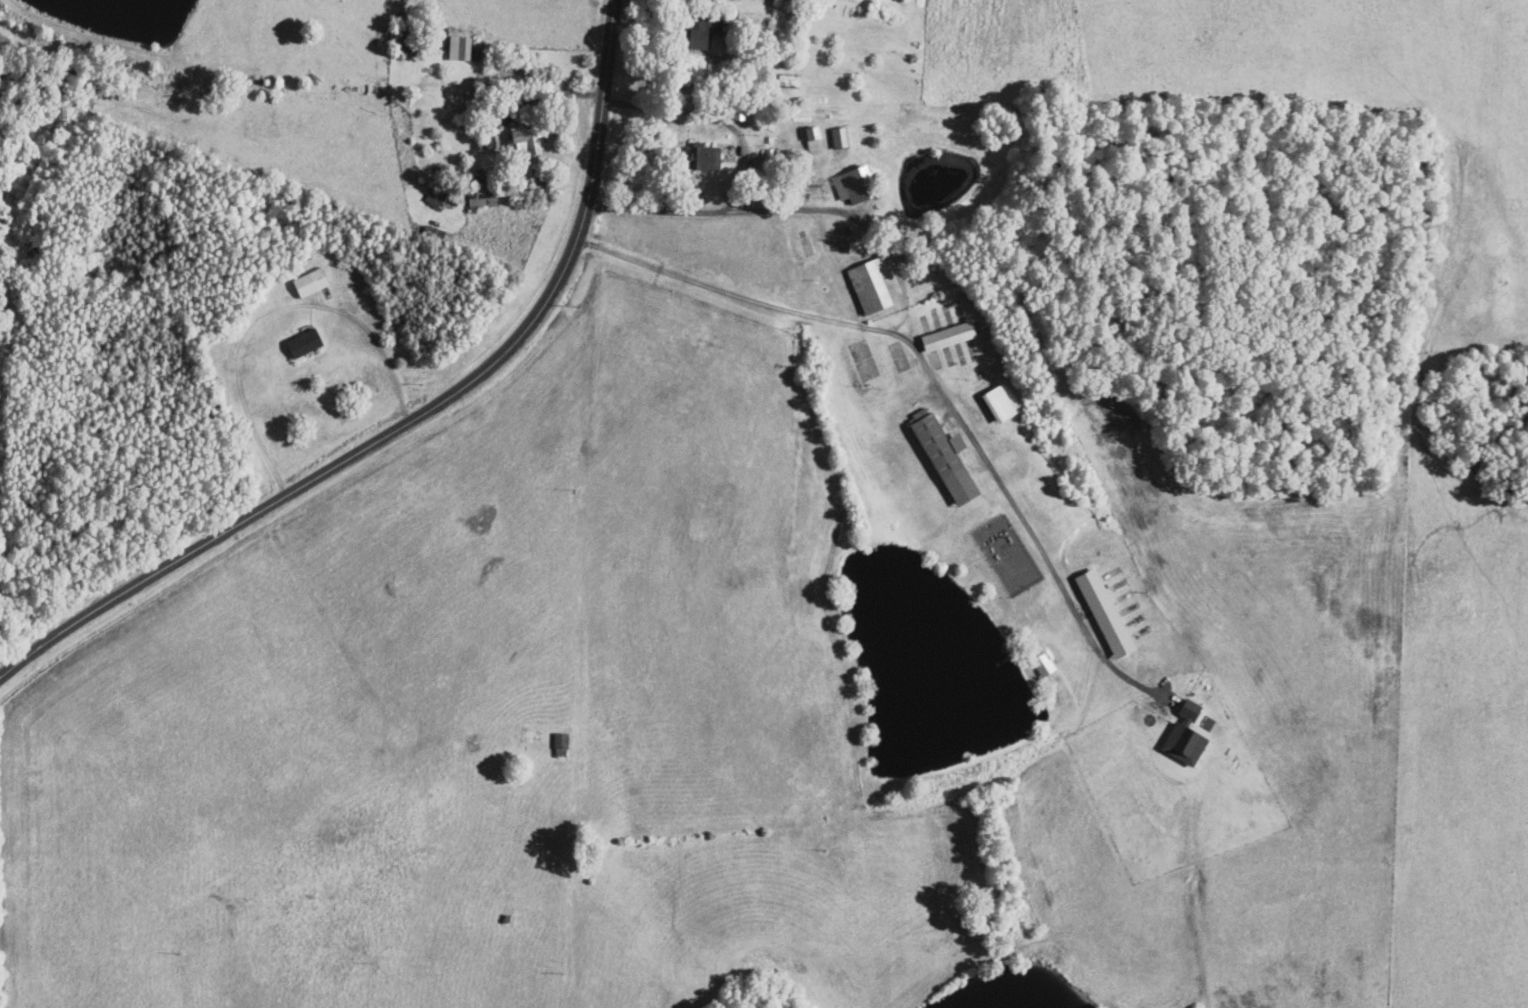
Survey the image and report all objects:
building: (784, 0)
building: (698, 33)
building: (457, 47)
building: (838, 137)
building: (811, 139)
building: (704, 157)
road: (741, 172)
building: (850, 185)
building: (481, 194)
building: (434, 197)
road: (793, 208)
building: (308, 282)
building: (869, 285)
road: (272, 311)
building: (945, 336)
building: (301, 343)
road: (932, 377)
building: (996, 404)
road: (414, 418)
building: (942, 457)
building: (1042, 664)
building: (1183, 736)
building: (559, 744)

